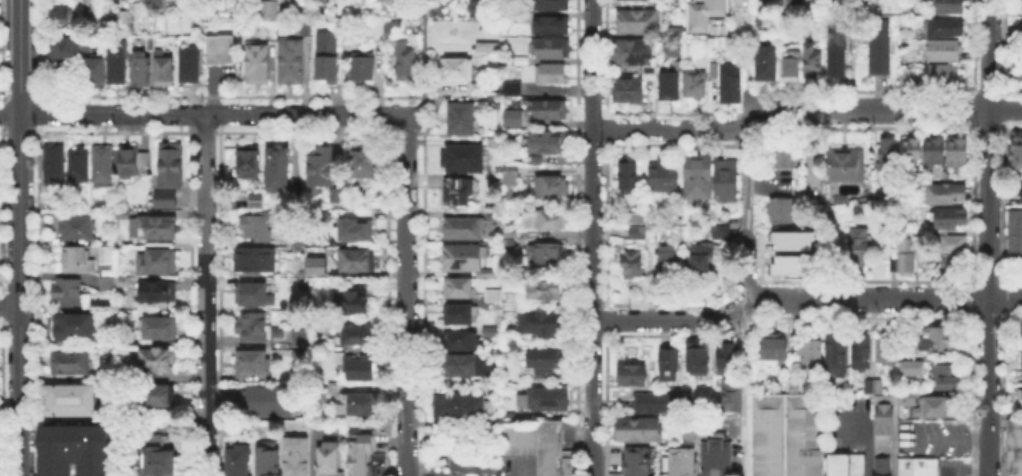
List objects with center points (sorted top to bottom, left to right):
building: (381, 0)
building: (158, 2)
building: (1021, 4)
building: (549, 6)
building: (951, 7)
building: (271, 10)
building: (480, 10)
building: (708, 15)
building: (59, 20)
building: (124, 20)
building: (638, 20)
building: (554, 27)
building: (307, 28)
building: (393, 30)
building: (946, 30)
building: (376, 33)
building: (87, 44)
road: (423, 44)
building: (65, 47)
building: (221, 48)
road: (973, 48)
road: (1005, 49)
road: (38, 51)
building: (554, 51)
building: (880, 51)
road: (2, 52)
building: (328, 52)
building: (944, 52)
building: (635, 55)
road: (19, 56)
building: (117, 61)
building: (363, 62)
building: (405, 62)
building: (838, 62)
building: (291, 63)
building: (516, 63)
building: (815, 63)
building: (258, 64)
building: (768, 65)
building: (190, 67)
building: (714, 68)
building: (791, 69)
building: (142, 71)
building: (165, 71)
building: (457, 71)
building: (97, 72)
building: (1020, 74)
building: (552, 76)
building: (909, 78)
building: (945, 78)
building: (696, 85)
building: (733, 86)
building: (670, 88)
building: (480, 89)
building: (513, 91)
building: (630, 92)
road: (451, 97)
road: (420, 105)
road: (804, 108)
road: (973, 108)
road: (1005, 109)
building: (550, 112)
road: (202, 113)
road: (2, 114)
road: (38, 114)
building: (462, 120)
building: (513, 121)
building: (548, 143)
building: (495, 144)
building: (914, 151)
building: (937, 152)
building: (959, 152)
building: (1018, 155)
building: (889, 157)
building: (783, 158)
building: (463, 160)
building: (133, 162)
building: (365, 163)
building: (249, 164)
building: (78, 166)
building: (102, 167)
building: (849, 167)
building: (56, 168)
building: (171, 168)
building: (322, 169)
building: (279, 171)
building: (508, 174)
building: (666, 177)
building: (627, 178)
building: (698, 178)
building: (727, 181)
building: (553, 189)
building: (460, 192)
building: (1019, 192)
building: (949, 193)
building: (336, 196)
building: (172, 200)
building: (257, 202)
road: (1005, 202)
road: (973, 204)
road: (1, 208)
building: (783, 212)
road: (745, 214)
building: (324, 216)
building: (636, 219)
building: (952, 219)
building: (546, 221)
building: (259, 226)
building: (470, 227)
building: (150, 228)
building: (78, 231)
building: (357, 231)
building: (719, 231)
road: (558, 235)
building: (638, 235)
road: (986, 237)
building: (295, 238)
road: (591, 238)
building: (1016, 238)
building: (781, 239)
building: (509, 240)
building: (859, 245)
building: (954, 245)
building: (546, 255)
building: (109, 257)
building: (906, 259)
building: (76, 261)
building: (255, 261)
building: (468, 261)
building: (668, 261)
building: (359, 262)
building: (157, 263)
building: (701, 263)
building: (314, 264)
building: (633, 265)
building: (781, 265)
building: (955, 266)
building: (321, 272)
building: (105, 282)
road: (3, 284)
road: (20, 284)
road: (35, 284)
building: (117, 284)
building: (459, 290)
building: (544, 292)
building: (159, 293)
road: (20, 294)
road: (406, 294)
building: (68, 295)
road: (205, 295)
road: (802, 295)
building: (251, 296)
building: (495, 297)
road: (1005, 298)
road: (973, 299)
road: (38, 300)
road: (10, 302)
building: (352, 303)
road: (3, 305)
road: (35, 316)
building: (461, 316)
road: (19, 318)
road: (1, 322)
building: (542, 326)
building: (77, 329)
building: (161, 330)
building: (258, 331)
building: (491, 333)
building: (359, 337)
building: (937, 339)
building: (301, 340)
building: (462, 342)
building: (774, 347)
building: (328, 348)
building: (887, 350)
building: (862, 352)
building: (811, 355)
building: (837, 355)
building: (728, 357)
building: (699, 359)
building: (546, 360)
building: (160, 361)
building: (254, 364)
building: (72, 365)
building: (459, 366)
building: (911, 366)
building: (670, 367)
building: (359, 368)
building: (633, 376)
building: (948, 378)
building: (792, 383)
building: (873, 384)
building: (491, 389)
road: (745, 391)
road: (972, 394)
road: (1003, 394)
building: (732, 396)
building: (905, 396)
road: (2, 397)
building: (542, 397)
building: (1019, 397)
building: (156, 398)
building: (264, 399)
building: (67, 402)
building: (356, 402)
building: (658, 404)
building: (459, 405)
building: (933, 405)
road: (10, 409)
building: (883, 411)
building: (491, 421)
building: (352, 427)
building: (1013, 427)
building: (690, 429)
building: (640, 430)
building: (787, 434)
parking lot: (932, 436)
road: (947, 437)
road: (864, 443)
building: (538, 444)
building: (1013, 447)
building: (74, 449)
building: (359, 453)
road: (892, 453)
building: (294, 455)
building: (159, 457)
building: (706, 457)
building: (721, 457)
building: (266, 458)
building: (327, 458)
building: (634, 460)
building: (234, 461)
building: (676, 461)
building: (470, 462)
building: (836, 464)
building: (854, 464)
building: (375, 465)
building: (880, 465)
building: (904, 466)
building: (924, 466)
building: (1011, 467)
building: (1020, 467)
parking lot: (952, 468)
road: (977, 469)
building: (614, 473)
building: (880, 475)

